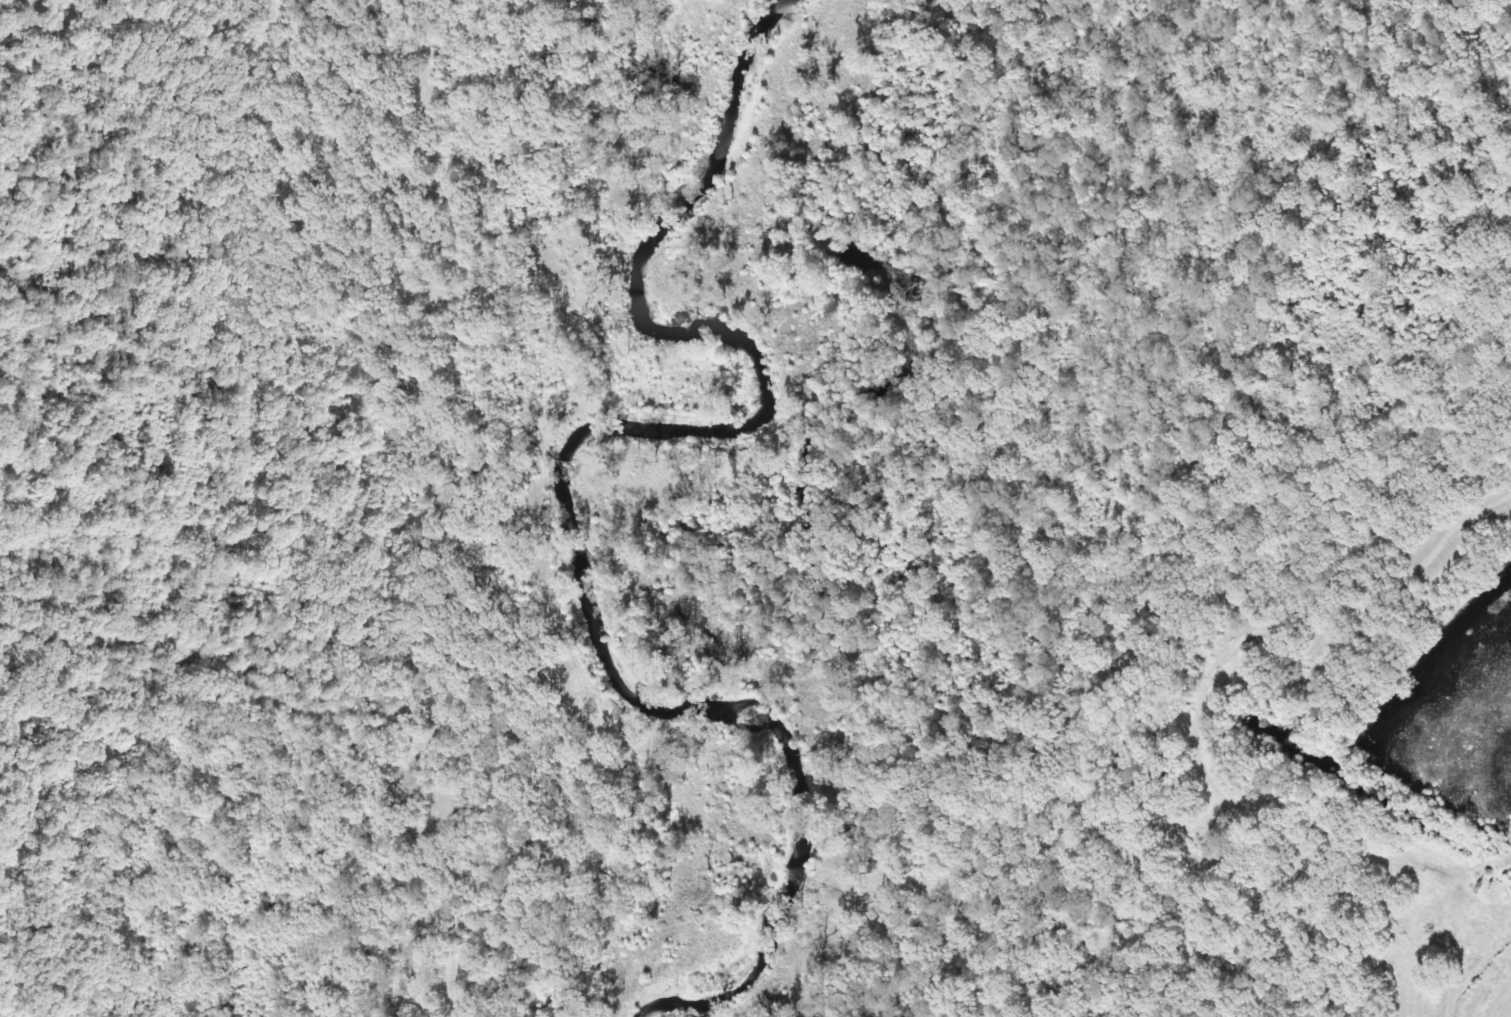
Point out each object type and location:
road: (1241, 758)

